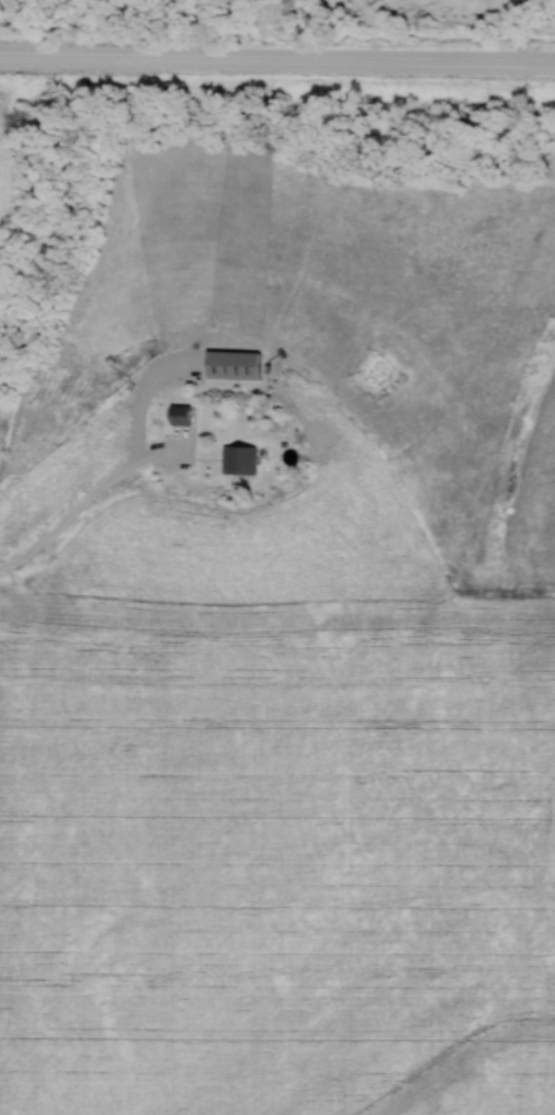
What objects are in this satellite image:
road: (277, 61)
building: (178, 416)
building: (237, 462)
road: (87, 501)

